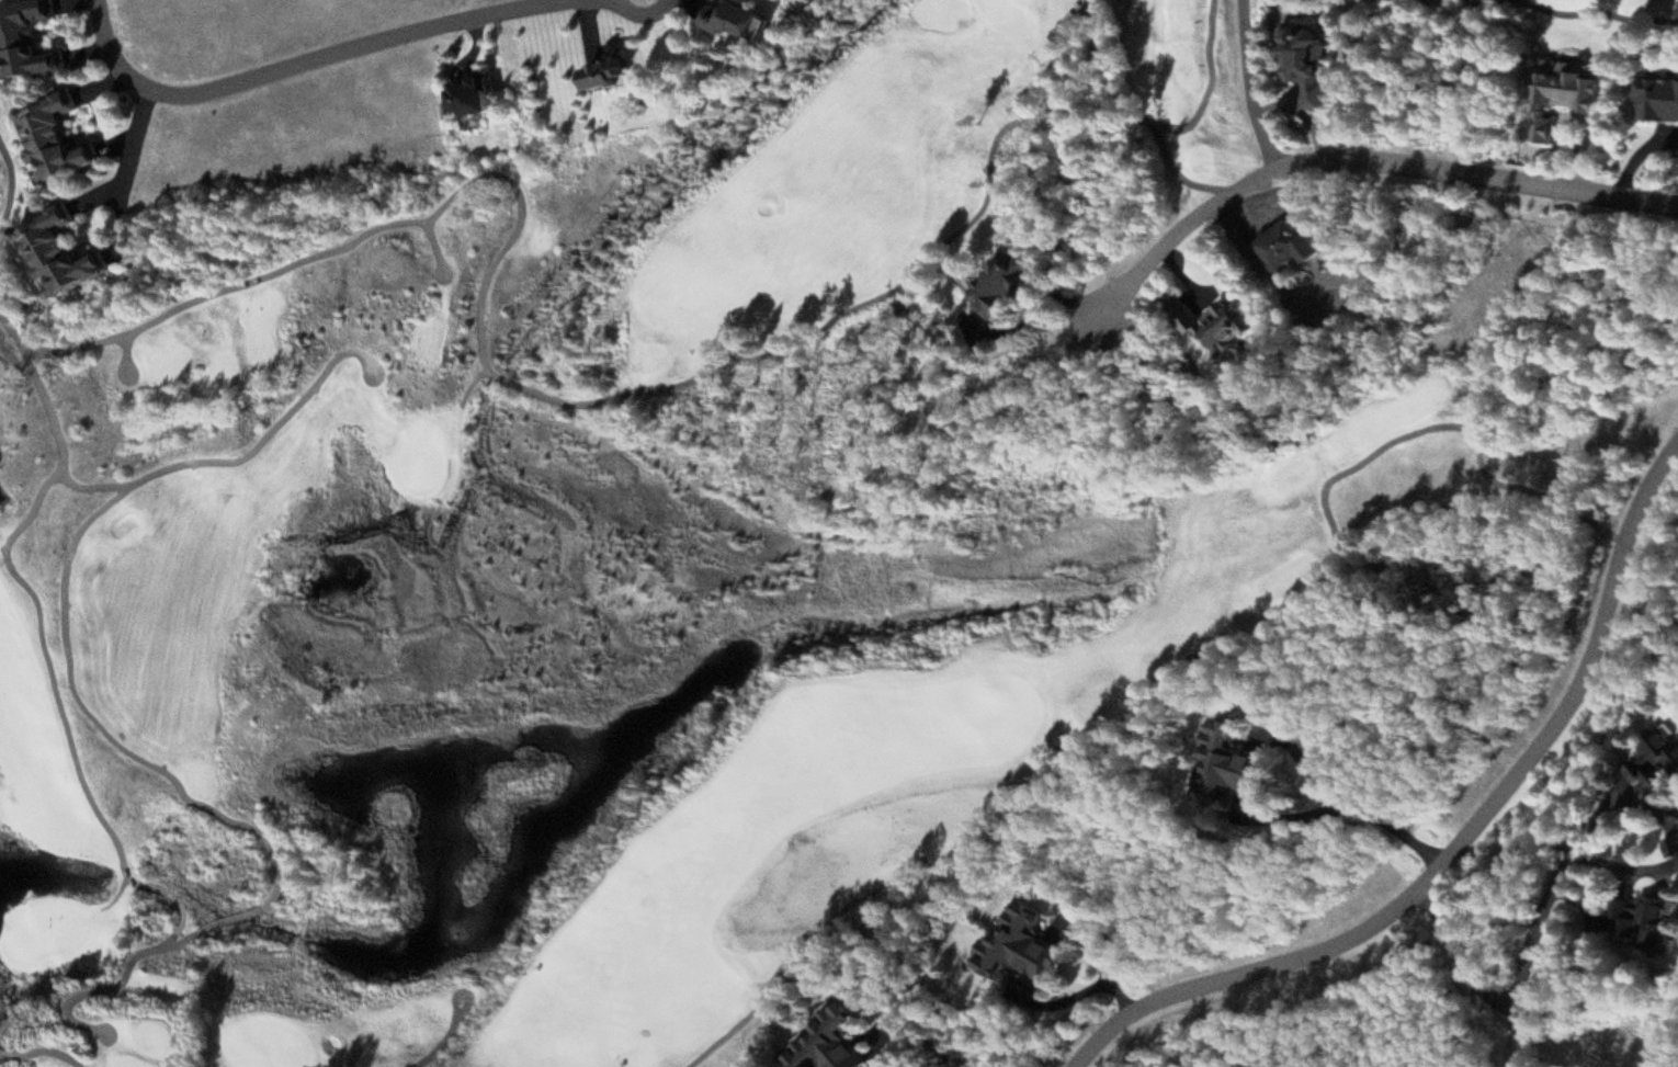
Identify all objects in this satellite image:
road: (1091, 3)
park: (1008, 12)
road: (1572, 15)
building: (747, 16)
road: (644, 19)
building: (33, 39)
building: (1308, 64)
road: (301, 65)
road: (1251, 87)
building: (1568, 92)
building: (480, 94)
building: (1659, 99)
road: (1163, 123)
building: (58, 139)
road: (1358, 168)
road: (1184, 173)
road: (14, 185)
building: (1292, 246)
building: (61, 253)
road: (259, 274)
building: (1006, 285)
building: (1216, 326)
road: (53, 343)
road: (690, 381)
road: (1462, 421)
park: (418, 457)
road: (95, 486)
park: (767, 501)
road: (77, 569)
road: (1654, 578)
road: (44, 606)
building: (1656, 761)
building: (1233, 767)
road: (1011, 799)
road: (1462, 844)
building: (1674, 845)
building: (1646, 921)
park: (41, 930)
road: (169, 940)
building: (1024, 945)
road: (1521, 981)
road: (110, 987)
road: (1515, 1035)
road: (439, 1041)
building: (832, 1042)
park: (275, 1045)
park: (1668, 1045)
road: (46, 1046)

